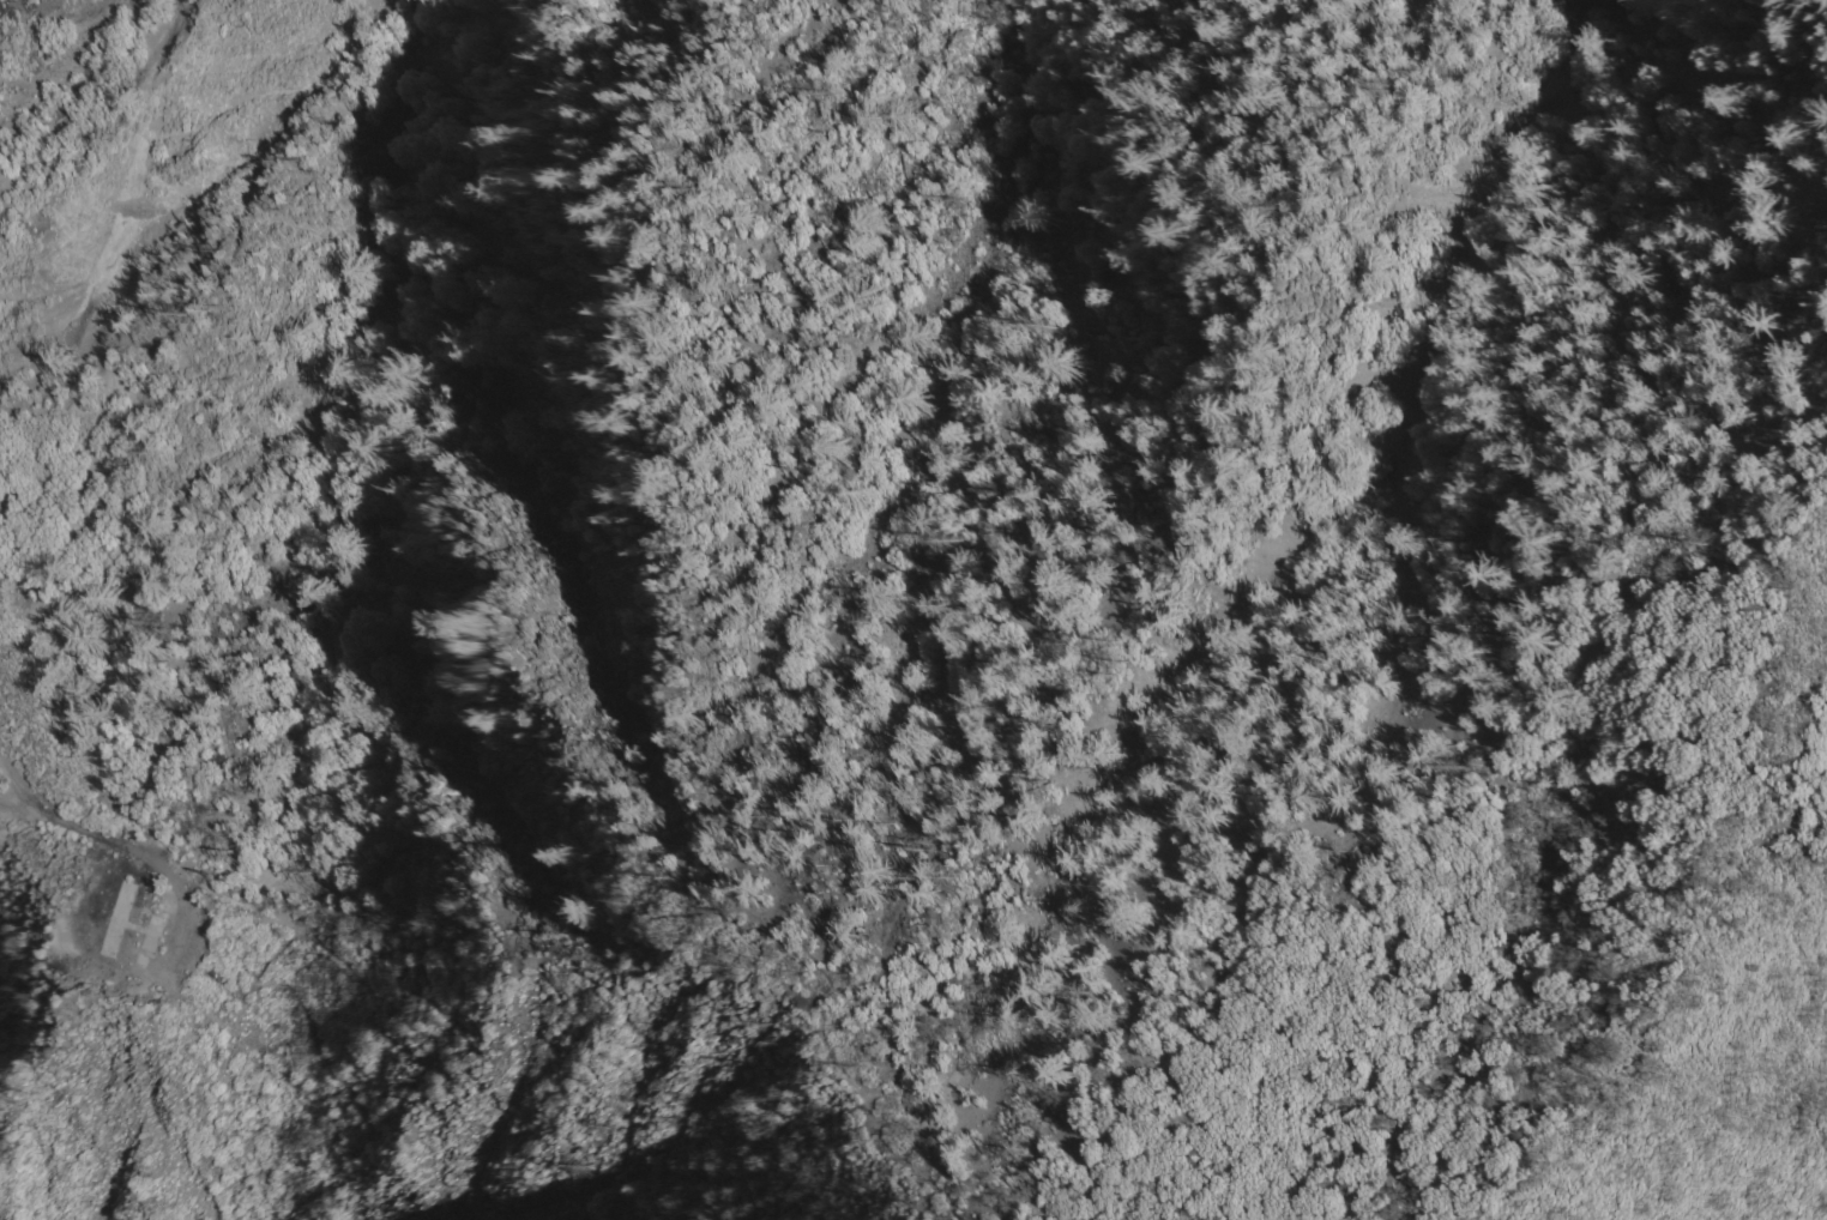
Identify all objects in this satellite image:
road: (16, 787)
helipad: (133, 924)
road: (604, 1076)
road: (337, 1079)

